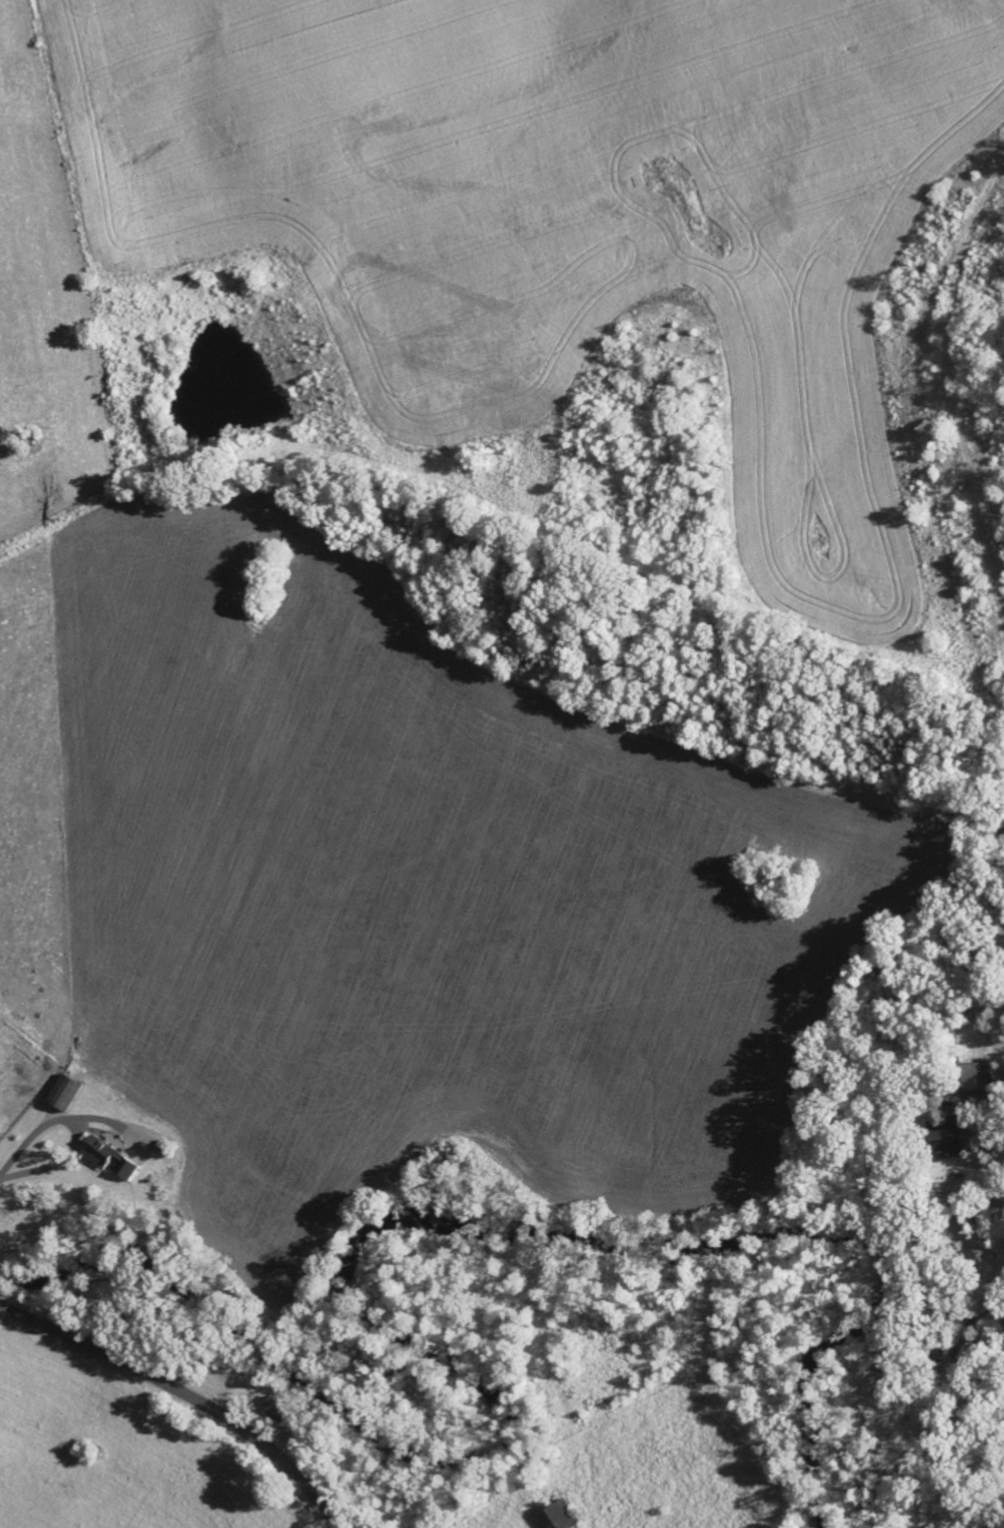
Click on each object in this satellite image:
building: (977, 1076)
building: (64, 1090)
road: (75, 1129)
building: (947, 1137)
building: (112, 1158)
road: (187, 1393)
building: (278, 1409)
building: (561, 1517)

